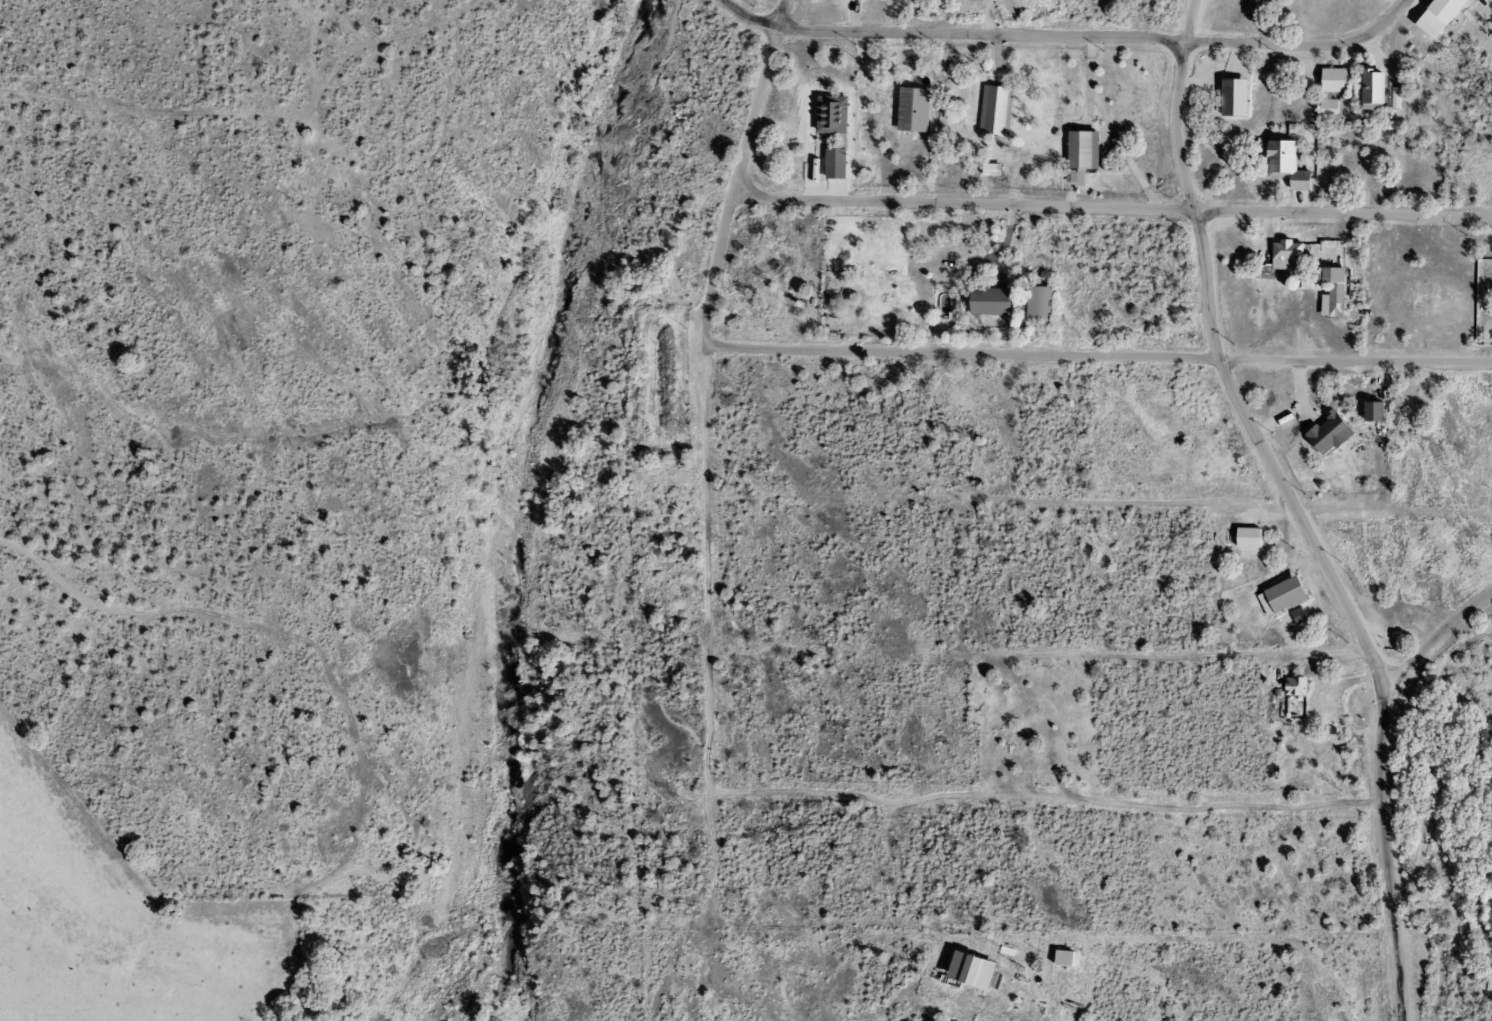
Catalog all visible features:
building: (1438, 9)
road: (780, 13)
road: (747, 17)
road: (1098, 36)
building: (1366, 87)
building: (1327, 90)
building: (991, 110)
building: (1077, 150)
building: (987, 170)
road: (734, 187)
road: (964, 202)
road: (1344, 212)
building: (1283, 250)
building: (828, 293)
building: (986, 302)
building: (1034, 305)
road: (1097, 356)
road: (1224, 377)
road: (706, 565)
road: (1379, 784)

